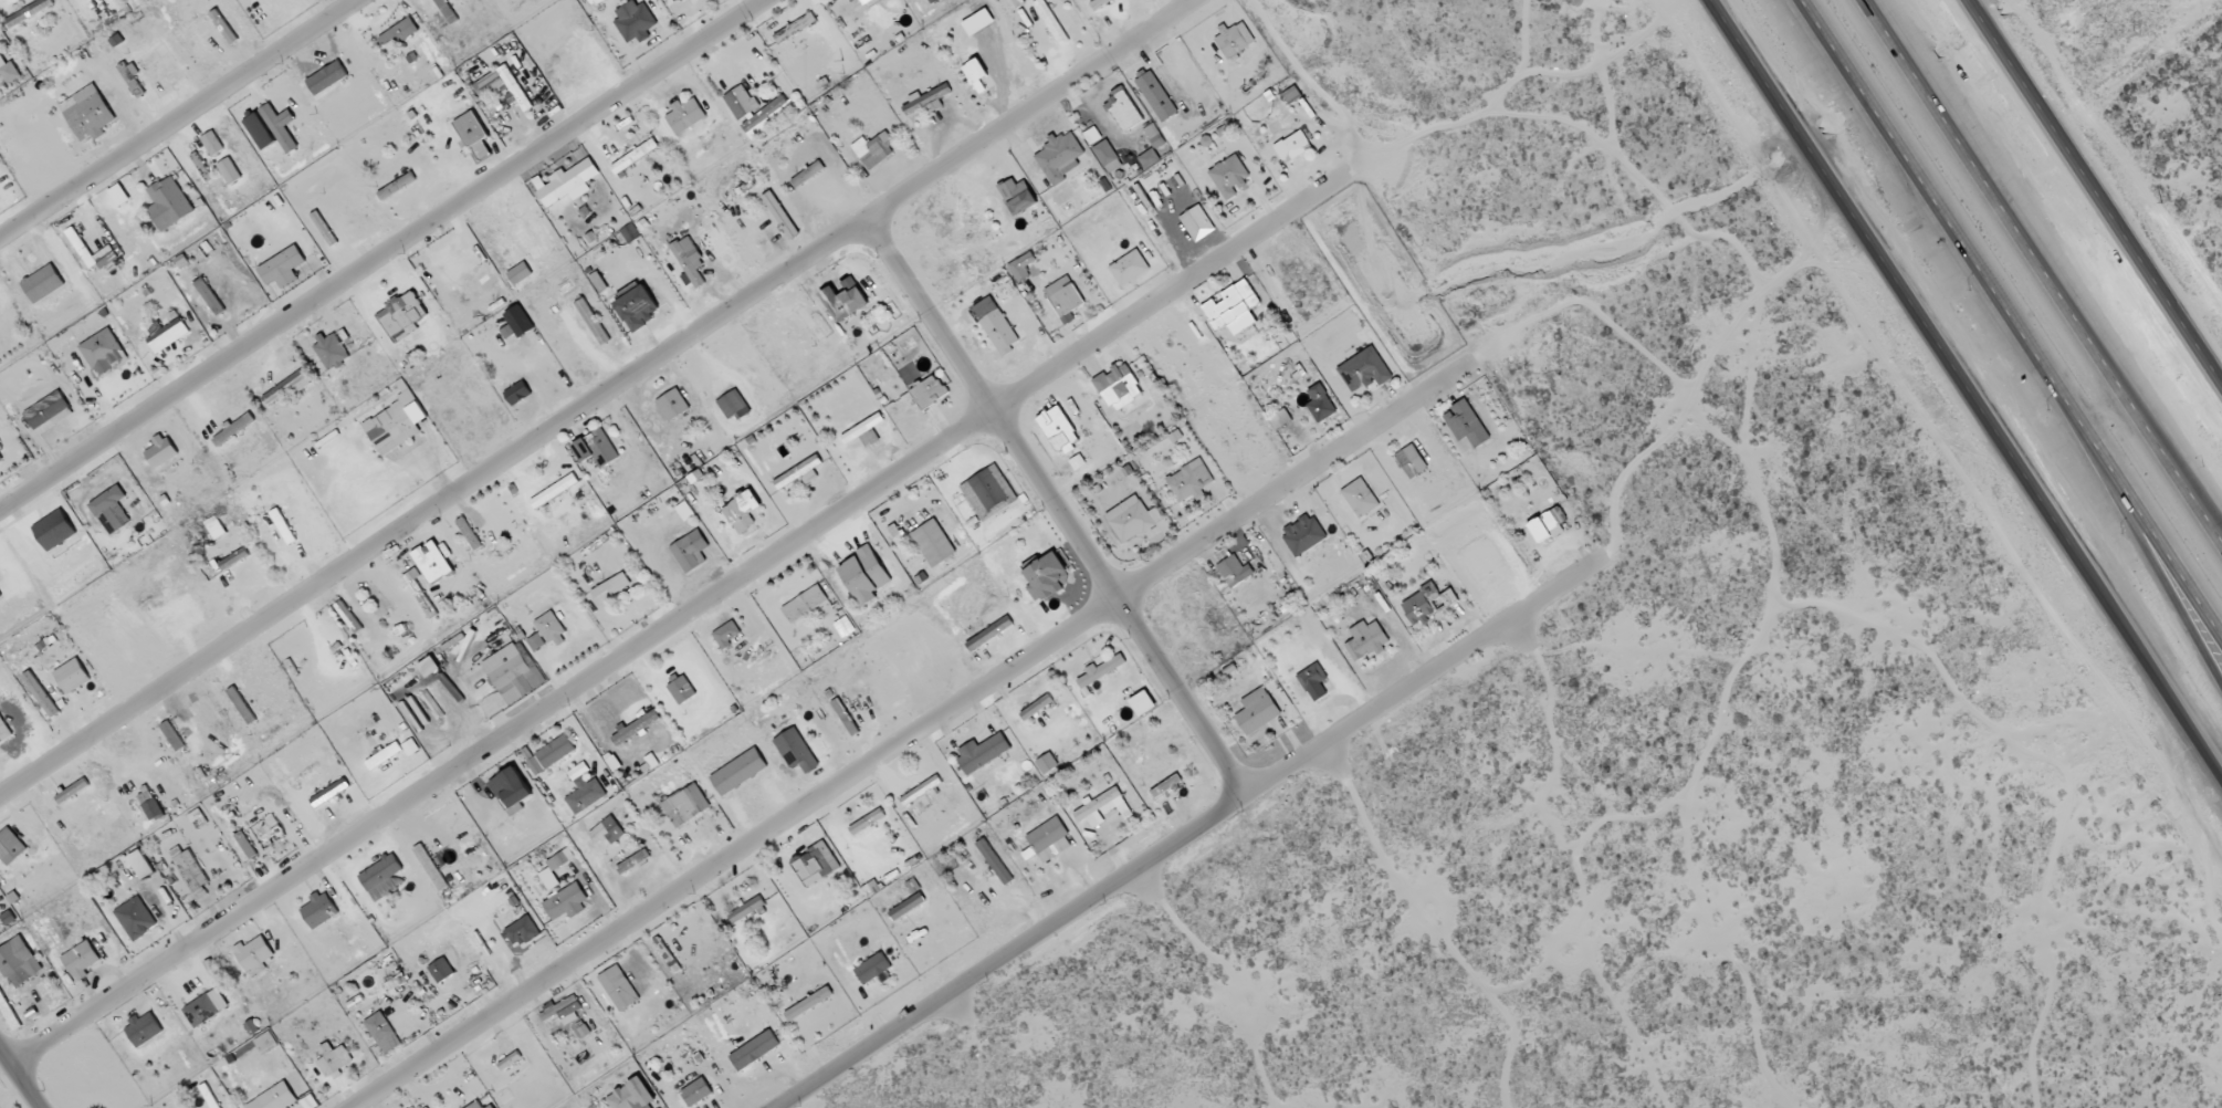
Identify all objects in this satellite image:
building: (674, 0)
building: (864, 1)
building: (594, 2)
building: (1099, 3)
building: (446, 11)
building: (29, 13)
building: (633, 21)
building: (1050, 22)
building: (795, 29)
building: (399, 33)
building: (858, 38)
building: (1234, 41)
building: (10, 73)
building: (975, 75)
building: (130, 77)
building: (326, 79)
building: (491, 88)
building: (513, 88)
building: (1290, 95)
building: (1155, 97)
building: (925, 100)
building: (740, 103)
road: (161, 108)
building: (87, 114)
building: (685, 116)
building: (768, 117)
building: (280, 126)
building: (259, 132)
building: (473, 135)
building: (1153, 136)
building: (1090, 137)
building: (211, 144)
building: (1292, 147)
building: (873, 149)
building: (635, 157)
building: (1107, 157)
building: (1061, 159)
building: (1149, 159)
building: (201, 168)
building: (229, 171)
building: (807, 175)
building: (1228, 177)
building: (568, 185)
building: (396, 187)
road: (2095, 191)
building: (1016, 197)
building: (168, 205)
building: (779, 216)
building: (1196, 223)
road: (364, 243)
building: (107, 251)
building: (1020, 266)
building: (282, 268)
building: (457, 268)
building: (1129, 269)
road: (2041, 272)
building: (520, 274)
building: (43, 284)
building: (1063, 296)
building: (209, 297)
building: (845, 299)
building: (637, 309)
building: (1233, 309)
building: (402, 316)
road: (2012, 318)
building: (591, 322)
building: (998, 332)
building: (168, 336)
building: (333, 351)
building: (103, 353)
building: (1363, 370)
building: (1118, 386)
building: (287, 387)
road: (583, 387)
road: (1967, 387)
building: (927, 393)
building: (517, 394)
building: (672, 405)
building: (732, 405)
building: (1319, 405)
building: (49, 411)
building: (395, 424)
building: (1465, 425)
building: (234, 428)
building: (1057, 429)
building: (863, 432)
building: (0, 449)
building: (595, 449)
building: (160, 451)
building: (0, 460)
building: (1411, 462)
building: (798, 474)
road: (2184, 478)
building: (1188, 482)
building: (554, 492)
building: (987, 493)
road: (1047, 493)
building: (1360, 500)
building: (111, 510)
building: (684, 511)
building: (742, 512)
building: (1131, 520)
building: (1547, 524)
building: (214, 527)
building: (54, 531)
building: (469, 534)
building: (1302, 535)
building: (900, 542)
building: (933, 544)
building: (690, 552)
road: (2148, 555)
building: (233, 560)
building: (432, 562)
building: (1234, 572)
building: (864, 576)
building: (1046, 578)
building: (419, 593)
road: (668, 599)
building: (1427, 604)
building: (804, 605)
building: (552, 630)
road: (1509, 634)
building: (726, 635)
building: (1365, 641)
road: (1448, 641)
building: (536, 642)
building: (916, 665)
building: (429, 669)
building: (513, 670)
building: (1101, 671)
building: (72, 677)
building: (1312, 682)
building: (681, 690)
building: (40, 694)
building: (1142, 704)
building: (241, 705)
road: (893, 724)
building: (635, 728)
building: (3, 732)
building: (171, 736)
building: (409, 748)
road: (1321, 751)
building: (555, 752)
building: (796, 752)
building: (982, 753)
road: (1270, 753)
building: (382, 756)
building: (1047, 764)
building: (534, 766)
building: (738, 773)
building: (1165, 786)
building: (584, 791)
building: (920, 791)
building: (71, 792)
building: (328, 794)
building: (149, 805)
building: (685, 806)
building: (1102, 808)
building: (197, 819)
building: (866, 823)
building: (606, 832)
building: (1049, 842)
building: (10, 847)
building: (993, 863)
building: (140, 865)
building: (815, 865)
building: (430, 868)
building: (189, 872)
building: (546, 872)
road: (1139, 874)
building: (381, 878)
building: (566, 903)
building: (906, 907)
building: (746, 910)
building: (318, 911)
building: (7, 919)
building: (135, 919)
building: (521, 932)
road: (991, 943)
building: (253, 957)
building: (81, 960)
building: (18, 963)
building: (872, 969)
building: (440, 971)
building: (618, 989)
road: (952, 996)
building: (808, 1004)
building: (206, 1008)
building: (562, 1011)
building: (144, 1029)
building: (382, 1034)
building: (754, 1052)
building: (333, 1059)
road: (23, 1077)
building: (695, 1093)
building: (631, 1096)
building: (274, 1098)
building: (478, 1105)
road: (751, 1106)

